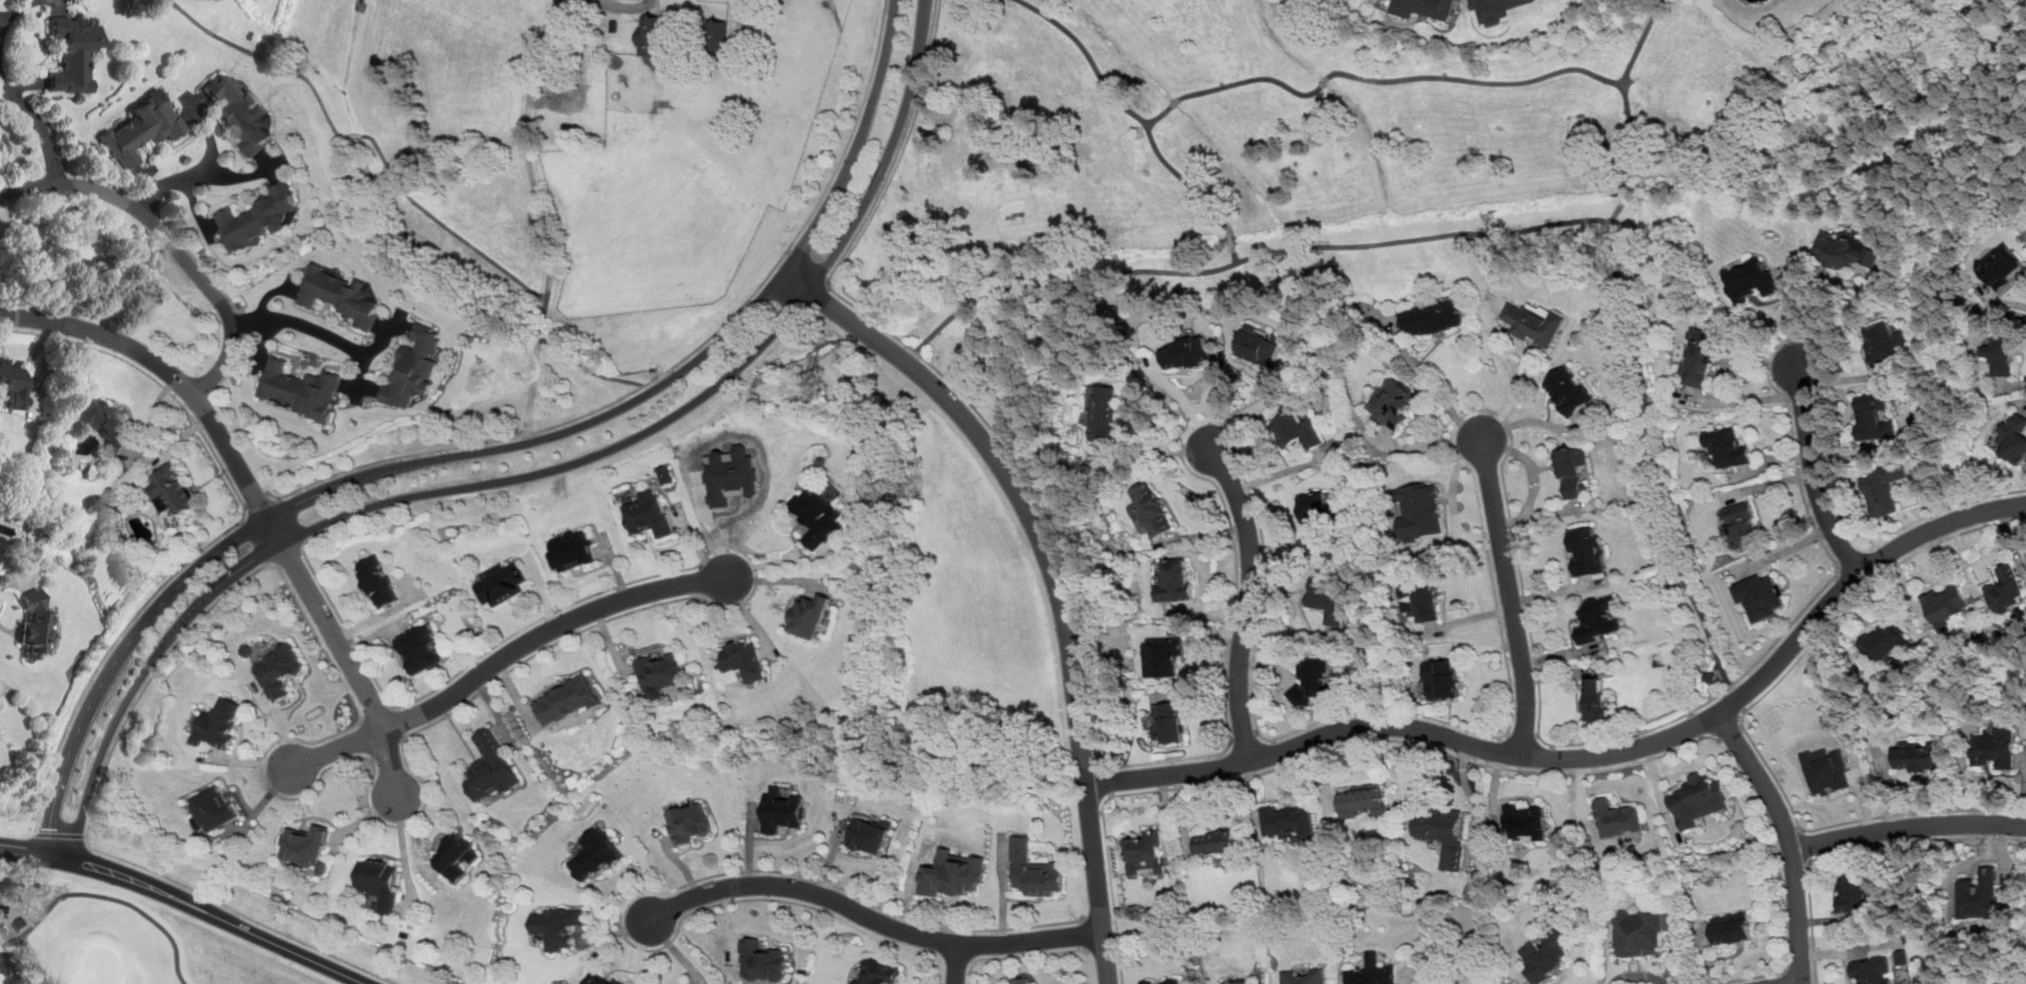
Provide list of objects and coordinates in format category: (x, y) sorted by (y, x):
road: (56, 4)
road: (621, 4)
building: (1425, 7)
road: (18, 8)
building: (1497, 8)
building: (653, 34)
building: (718, 34)
building: (71, 53)
road: (268, 59)
road: (1375, 81)
road: (24, 85)
road: (1624, 87)
building: (571, 97)
road: (192, 107)
road: (1127, 111)
building: (243, 114)
road: (40, 124)
building: (142, 128)
road: (355, 134)
road: (268, 165)
road: (205, 168)
road: (55, 171)
road: (235, 174)
road: (20, 178)
road: (147, 179)
road: (106, 182)
road: (1623, 191)
road: (150, 206)
road: (194, 206)
road: (1617, 213)
building: (256, 217)
road: (545, 228)
road: (1493, 236)
road: (169, 240)
road: (1233, 241)
building: (1844, 250)
road: (1235, 258)
road: (808, 263)
road: (201, 265)
building: (2002, 265)
road: (505, 270)
building: (1752, 278)
road: (291, 287)
road: (268, 291)
building: (338, 294)
road: (1999, 302)
road: (1848, 313)
building: (1433, 317)
road: (1788, 318)
road: (245, 322)
building: (1537, 323)
road: (390, 328)
road: (321, 331)
road: (385, 338)
road: (264, 340)
building: (1885, 343)
building: (1262, 345)
building: (1187, 352)
building: (2001, 355)
road: (1741, 358)
building: (1699, 360)
road: (680, 363)
road: (235, 364)
road: (1510, 366)
building: (413, 368)
road: (1844, 376)
road: (151, 377)
building: (12, 383)
road: (358, 383)
road: (2012, 383)
building: (299, 388)
building: (1571, 390)
road: (1440, 396)
road: (207, 398)
road: (1184, 398)
road: (1740, 398)
road: (1258, 403)
building: (1394, 403)
building: (1107, 412)
building: (1874, 417)
road: (1534, 419)
building: (101, 422)
building: (1299, 428)
building: (2014, 437)
road: (1422, 446)
building: (1728, 446)
road: (1852, 450)
road: (490, 451)
road: (1155, 456)
road: (1774, 456)
road: (1529, 463)
road: (1285, 469)
building: (1573, 469)
building: (666, 474)
road: (1814, 474)
road: (534, 476)
building: (732, 476)
road: (1770, 482)
road: (1451, 483)
building: (1884, 488)
building: (173, 489)
road: (1928, 493)
road: (274, 494)
road: (255, 496)
road: (258, 500)
building: (1151, 508)
building: (1420, 510)
road: (1542, 511)
building: (1316, 512)
building: (650, 514)
road: (2024, 514)
building: (818, 516)
road: (292, 518)
building: (1744, 523)
road: (1204, 533)
road: (1455, 538)
road: (2007, 539)
road: (1854, 543)
road: (306, 544)
road: (1871, 547)
road: (1784, 549)
building: (1587, 550)
road: (1289, 551)
road: (288, 552)
building: (572, 552)
road: (1845, 553)
road: (1881, 554)
road: (778, 560)
road: (1836, 561)
road: (1893, 562)
road: (1053, 574)
road: (1835, 575)
road: (1841, 579)
building: (1176, 580)
building: (378, 582)
building: (502, 583)
road: (1556, 588)
building: (2006, 591)
road: (1508, 595)
building: (1761, 595)
building: (1424, 597)
building: (1327, 599)
road: (1247, 601)
road: (1211, 605)
building: (1946, 606)
building: (812, 614)
road: (1469, 617)
building: (1598, 618)
building: (36, 625)
road: (1204, 632)
road: (1286, 637)
building: (1886, 641)
road: (561, 642)
building: (422, 648)
road: (1476, 648)
road: (112, 651)
road: (1557, 651)
building: (1163, 655)
road: (502, 658)
building: (744, 659)
building: (281, 670)
building: (662, 672)
road: (1556, 674)
building: (1710, 675)
road: (152, 679)
building: (1444, 679)
road: (1285, 680)
building: (1313, 681)
road: (1713, 684)
road: (1731, 686)
road: (1736, 697)
building: (1596, 699)
building: (569, 700)
road: (1744, 708)
road: (1398, 710)
road: (1690, 712)
road: (1742, 714)
road: (362, 722)
road: (404, 722)
building: (1169, 722)
building: (221, 723)
road: (1695, 724)
road: (1740, 724)
road: (1729, 729)
road: (1255, 731)
road: (1507, 733)
road: (1521, 734)
road: (1537, 734)
road: (1700, 735)
road: (1243, 737)
road: (1498, 737)
road: (1231, 740)
road: (1273, 740)
road: (1498, 744)
road: (1552, 745)
road: (1274, 747)
building: (1995, 747)
road: (387, 749)
road: (1322, 749)
road: (1220, 754)
building: (1919, 755)
road: (1589, 756)
road: (1551, 757)
road: (1223, 766)
road: (1105, 767)
building: (491, 768)
road: (1551, 770)
building: (1826, 770)
road: (1324, 773)
road: (1226, 778)
road: (1107, 780)
road: (1493, 787)
road: (1111, 792)
road: (1658, 792)
road: (1580, 793)
road: (1887, 793)
road: (1251, 794)
road: (1469, 799)
building: (1699, 799)
road: (2023, 799)
road: (1865, 800)
building: (1363, 801)
road: (1164, 804)
road: (259, 806)
building: (214, 808)
building: (784, 809)
road: (1093, 811)
road: (1100, 811)
road: (1181, 811)
building: (1619, 817)
building: (1289, 820)
building: (1528, 820)
building: (692, 823)
road: (1906, 827)
road: (1800, 828)
building: (1444, 832)
building: (871, 835)
road: (1786, 839)
building: (1218, 840)
building: (307, 845)
road: (749, 845)
road: (1802, 845)
road: (1855, 848)
road: (36, 852)
building: (1147, 853)
building: (597, 854)
road: (830, 855)
building: (458, 857)
road: (681, 862)
road: (1808, 862)
building: (1035, 869)
building: (955, 871)
road: (2000, 872)
road: (646, 873)
building: (381, 881)
road: (843, 888)
building: (1855, 892)
road: (1002, 893)
building: (1979, 895)
road: (108, 896)
road: (212, 896)
road: (905, 898)
road: (782, 899)
road: (872, 917)
road: (222, 918)
road: (1821, 919)
building: (20, 923)
road: (726, 924)
building: (562, 925)
building: (1731, 927)
road: (616, 931)
building: (1638, 931)
park: (118, 939)
road: (975, 944)
road: (1851, 949)
road: (676, 950)
road: (643, 952)
road: (1019, 953)
road: (1705, 954)
building: (1546, 955)
road: (957, 957)
building: (1902, 957)
building: (764, 961)
road: (957, 962)
park: (101, 966)
building: (1873, 970)
building: (879, 972)
building: (1372, 972)
road: (1406, 973)
road: (1635, 974)
building: (1305, 975)
road: (1747, 977)
road: (1785, 977)
building: (603, 978)
building: (1022, 980)
building: (1163, 981)
building: (1241, 981)
road: (1429, 981)
building: (1448, 982)

